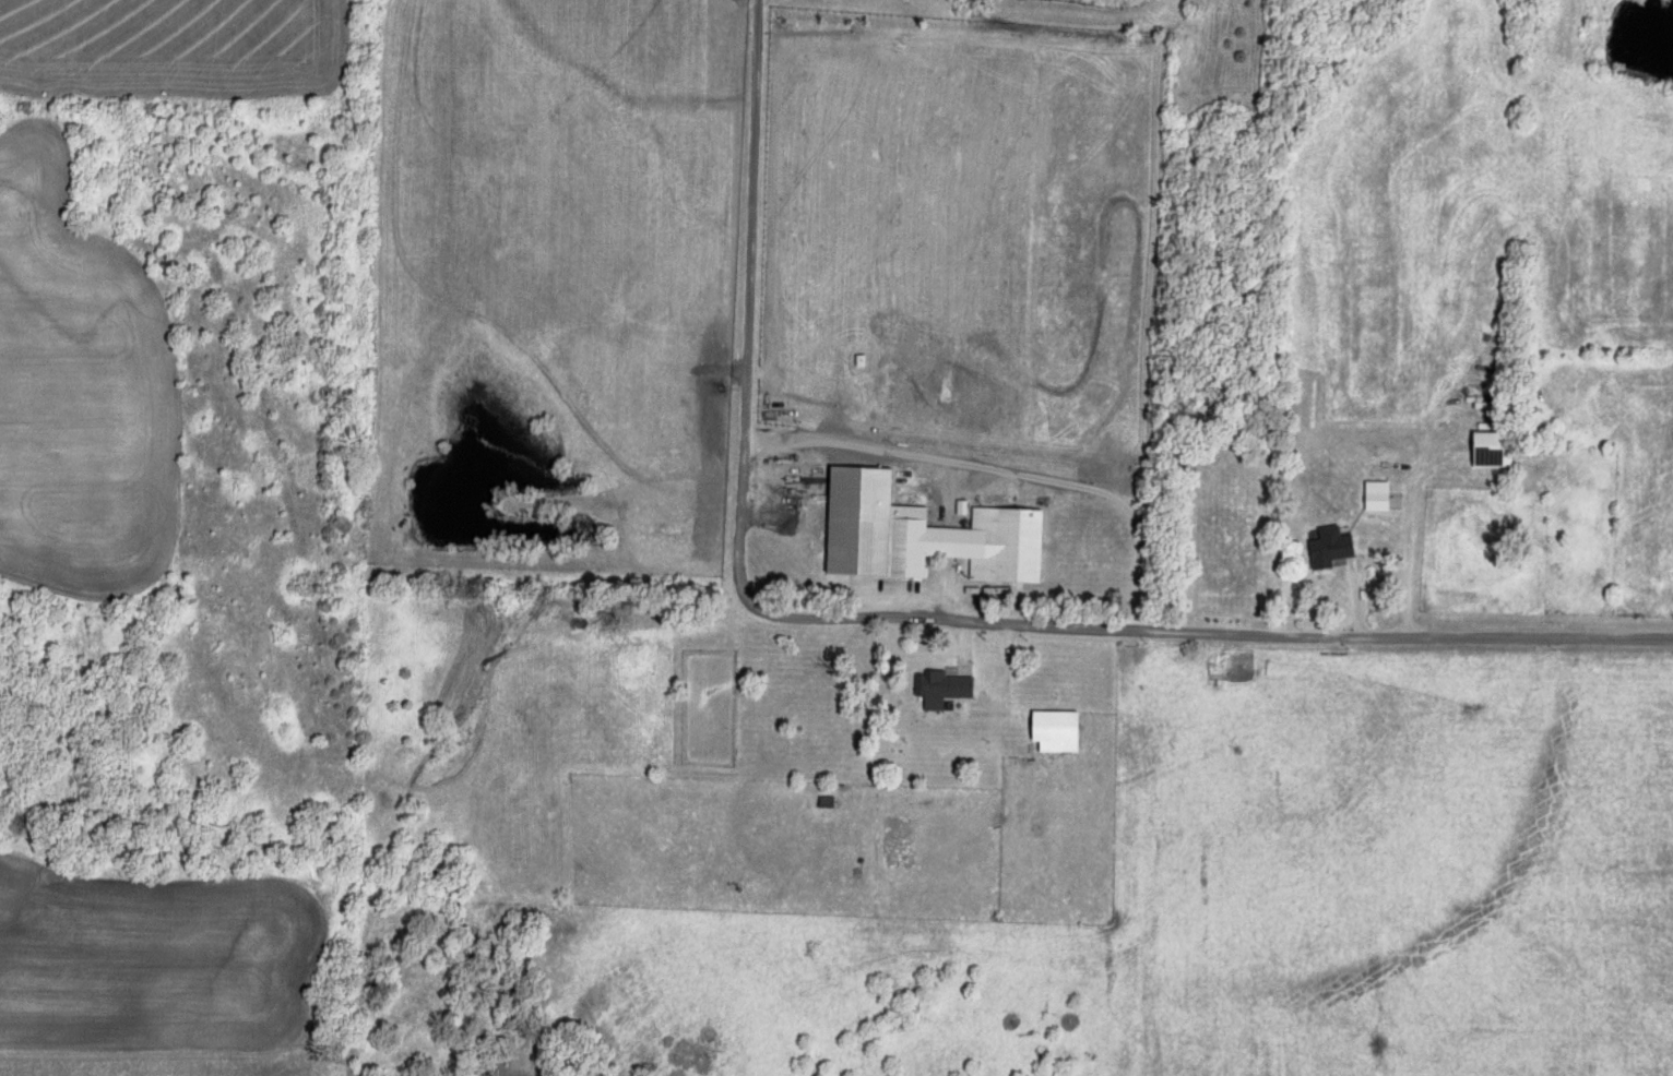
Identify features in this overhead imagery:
road: (748, 409)
building: (1488, 442)
building: (1376, 495)
building: (923, 534)
building: (1329, 547)
road: (1411, 571)
road: (1317, 637)
building: (941, 689)
building: (1056, 731)

